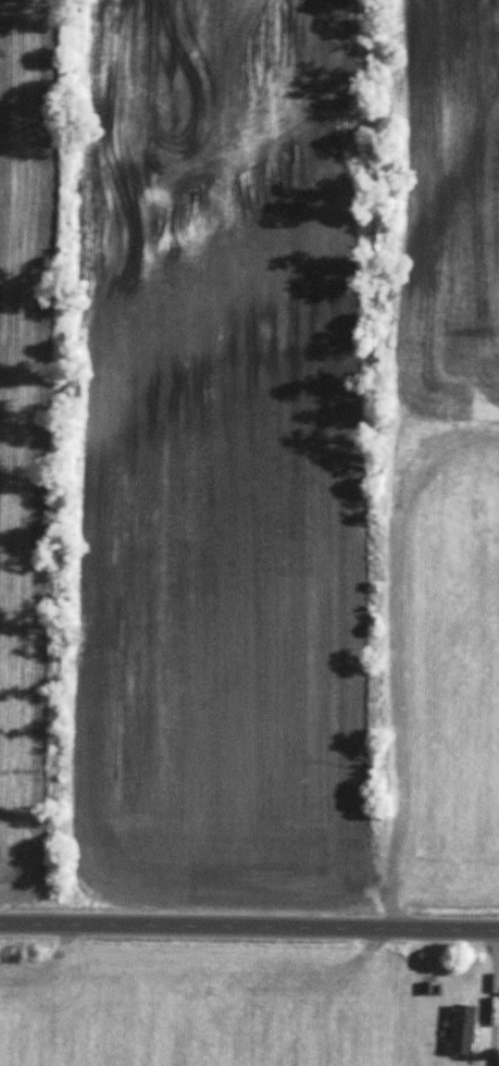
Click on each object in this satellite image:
road: (249, 926)
building: (463, 1030)

